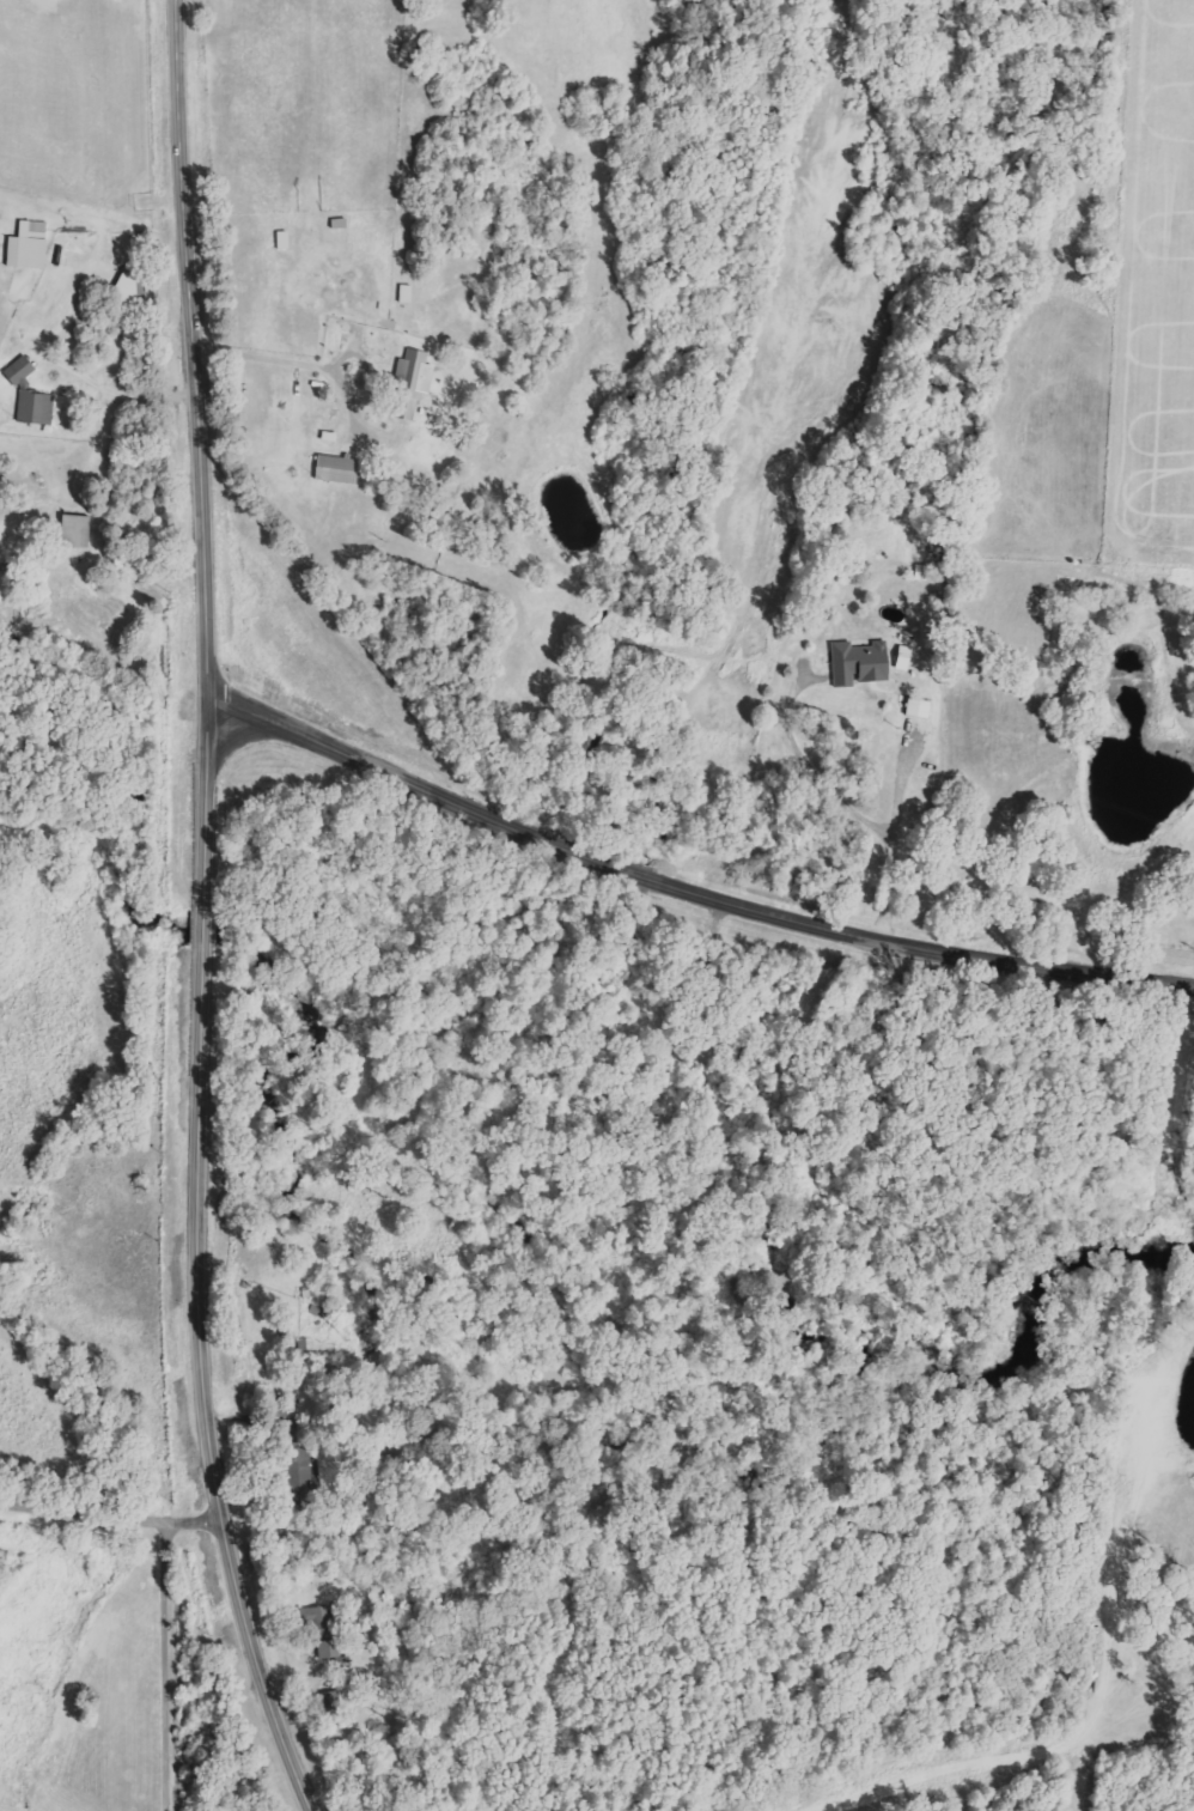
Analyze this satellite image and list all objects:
building: (26, 247)
road: (297, 360)
road: (91, 382)
building: (409, 384)
building: (29, 399)
building: (335, 469)
building: (73, 533)
park: (148, 563)
building: (858, 664)
building: (916, 709)
road: (238, 746)
road: (841, 803)
road: (689, 888)
road: (207, 913)
building: (300, 1472)
road: (114, 1529)
building: (323, 1633)
road: (163, 1672)

